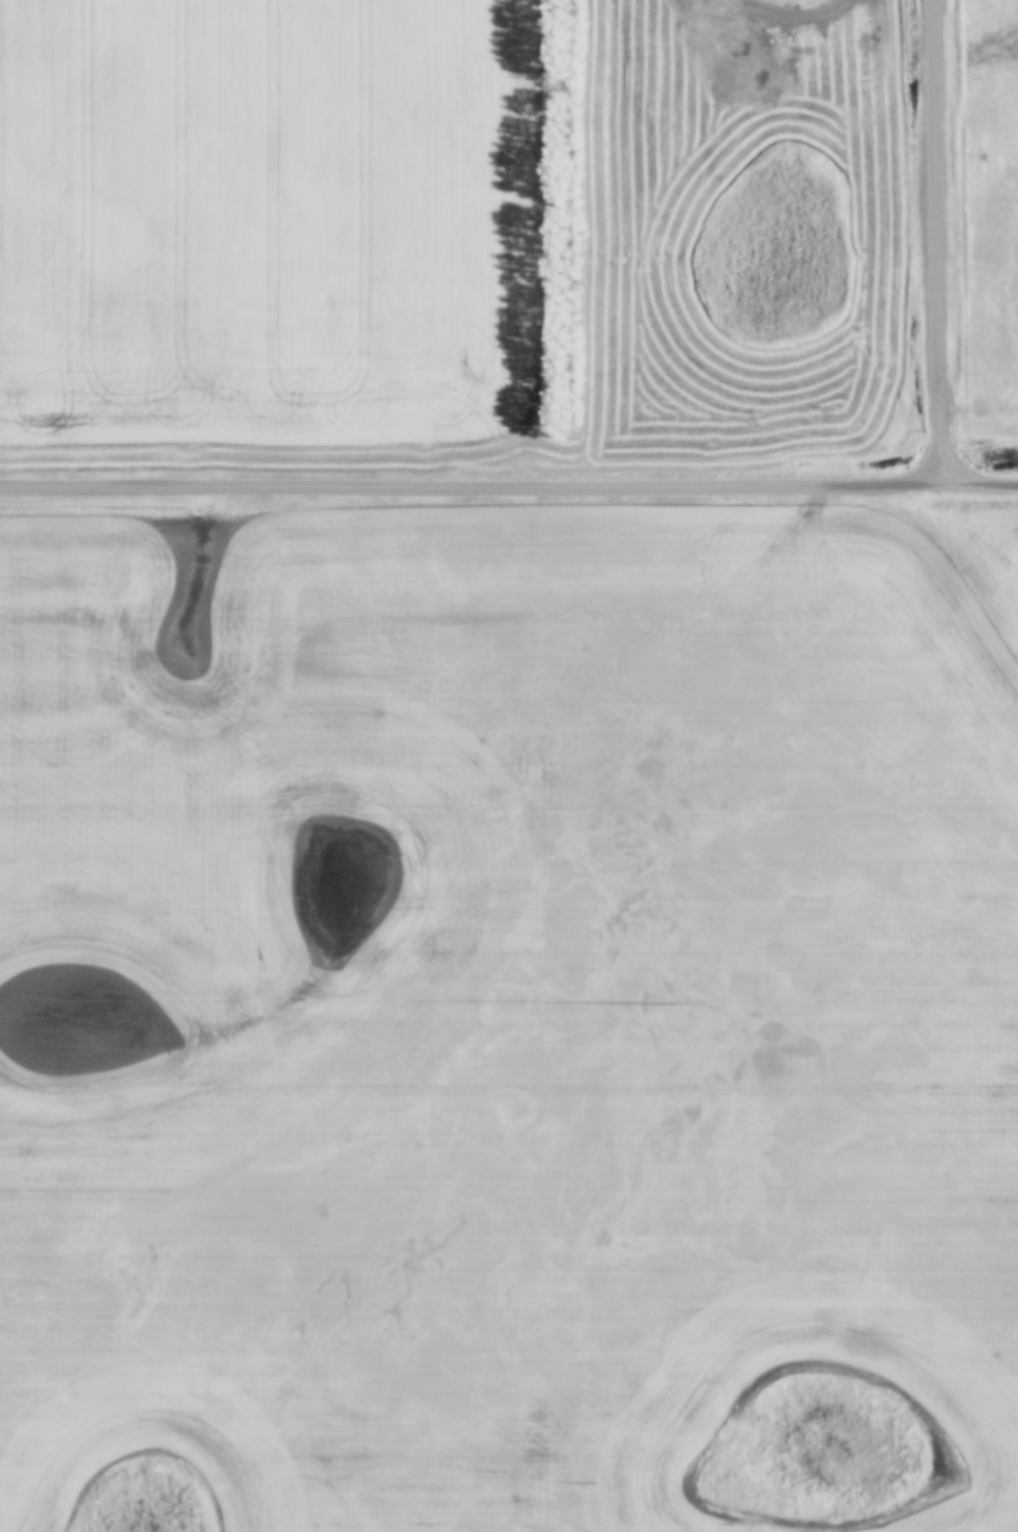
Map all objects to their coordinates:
road: (943, 242)
road: (509, 485)

